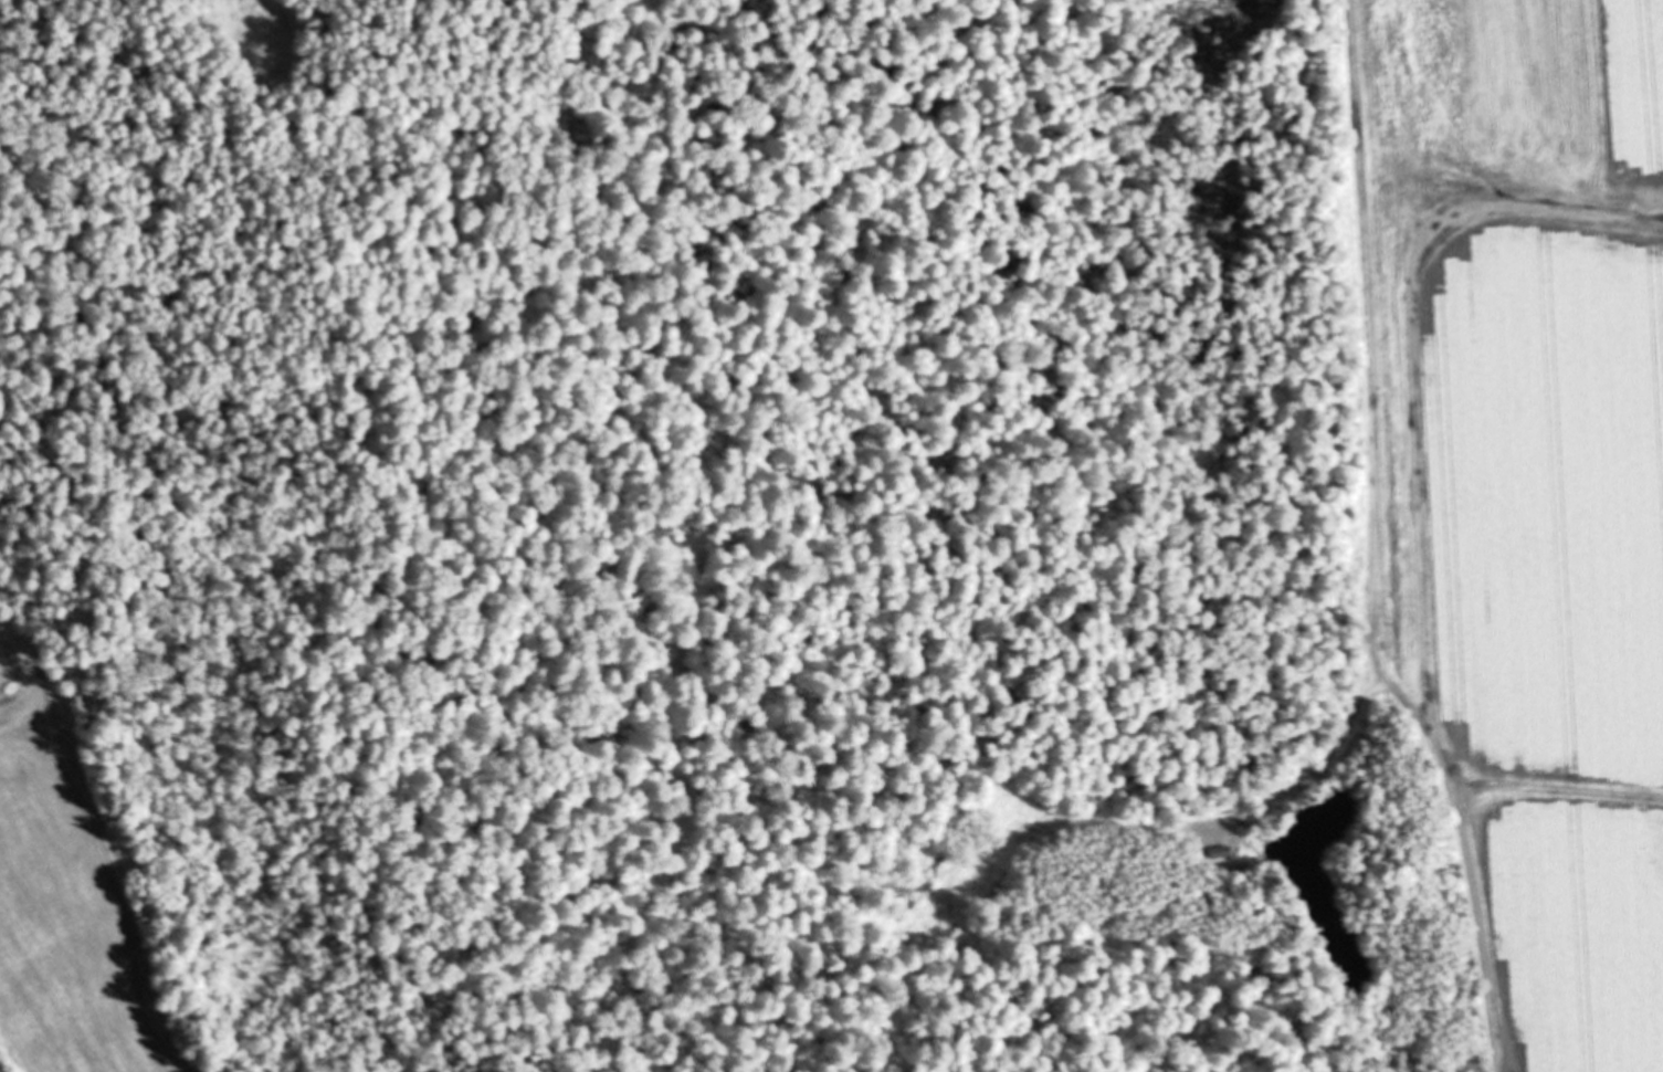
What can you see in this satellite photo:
road: (1476, 910)

